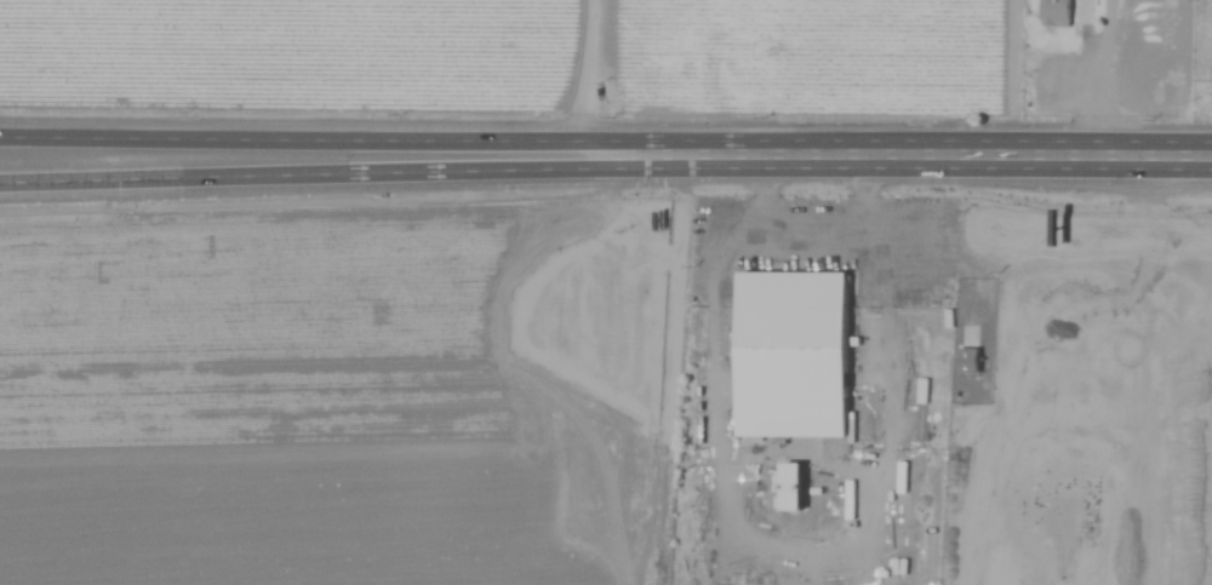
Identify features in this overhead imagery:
building: (1054, 13)
road: (304, 143)
road: (779, 157)
road: (1081, 159)
road: (304, 171)
crop: (606, 292)
building: (802, 356)
building: (937, 426)

